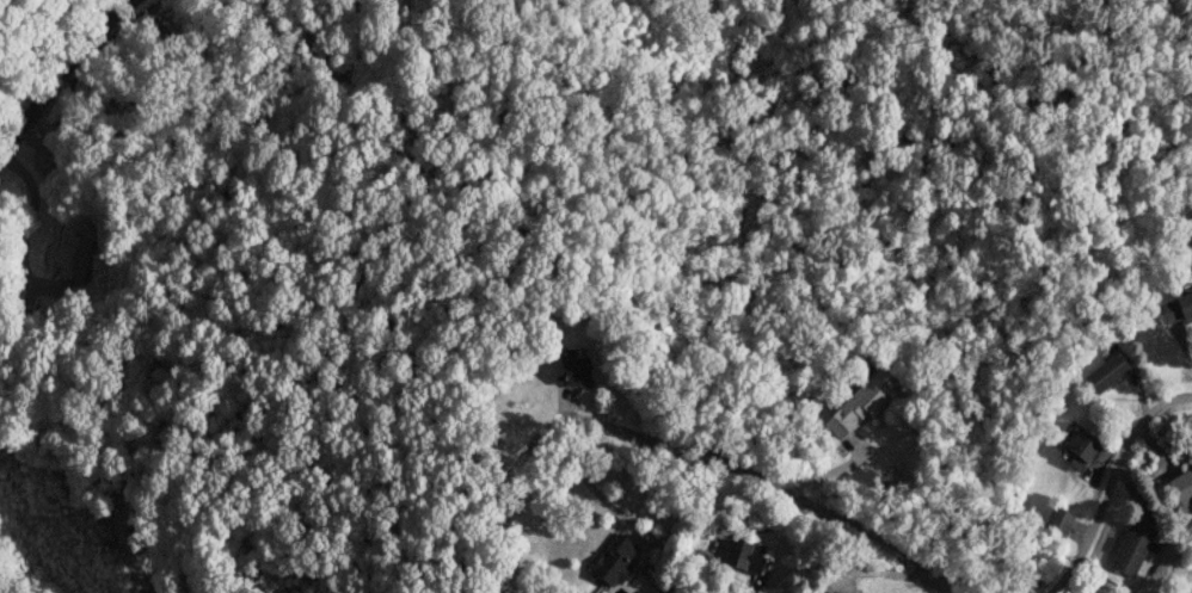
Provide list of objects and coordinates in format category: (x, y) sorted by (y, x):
road: (61, 70)
building: (48, 157)
building: (72, 258)
building: (1176, 309)
building: (571, 370)
building: (1107, 372)
building: (861, 402)
building: (1076, 447)
road: (674, 450)
road: (1111, 482)
road: (585, 488)
building: (1181, 488)
building: (1058, 520)
building: (1185, 526)
building: (1131, 548)
building: (744, 555)
building: (614, 561)
building: (831, 592)

